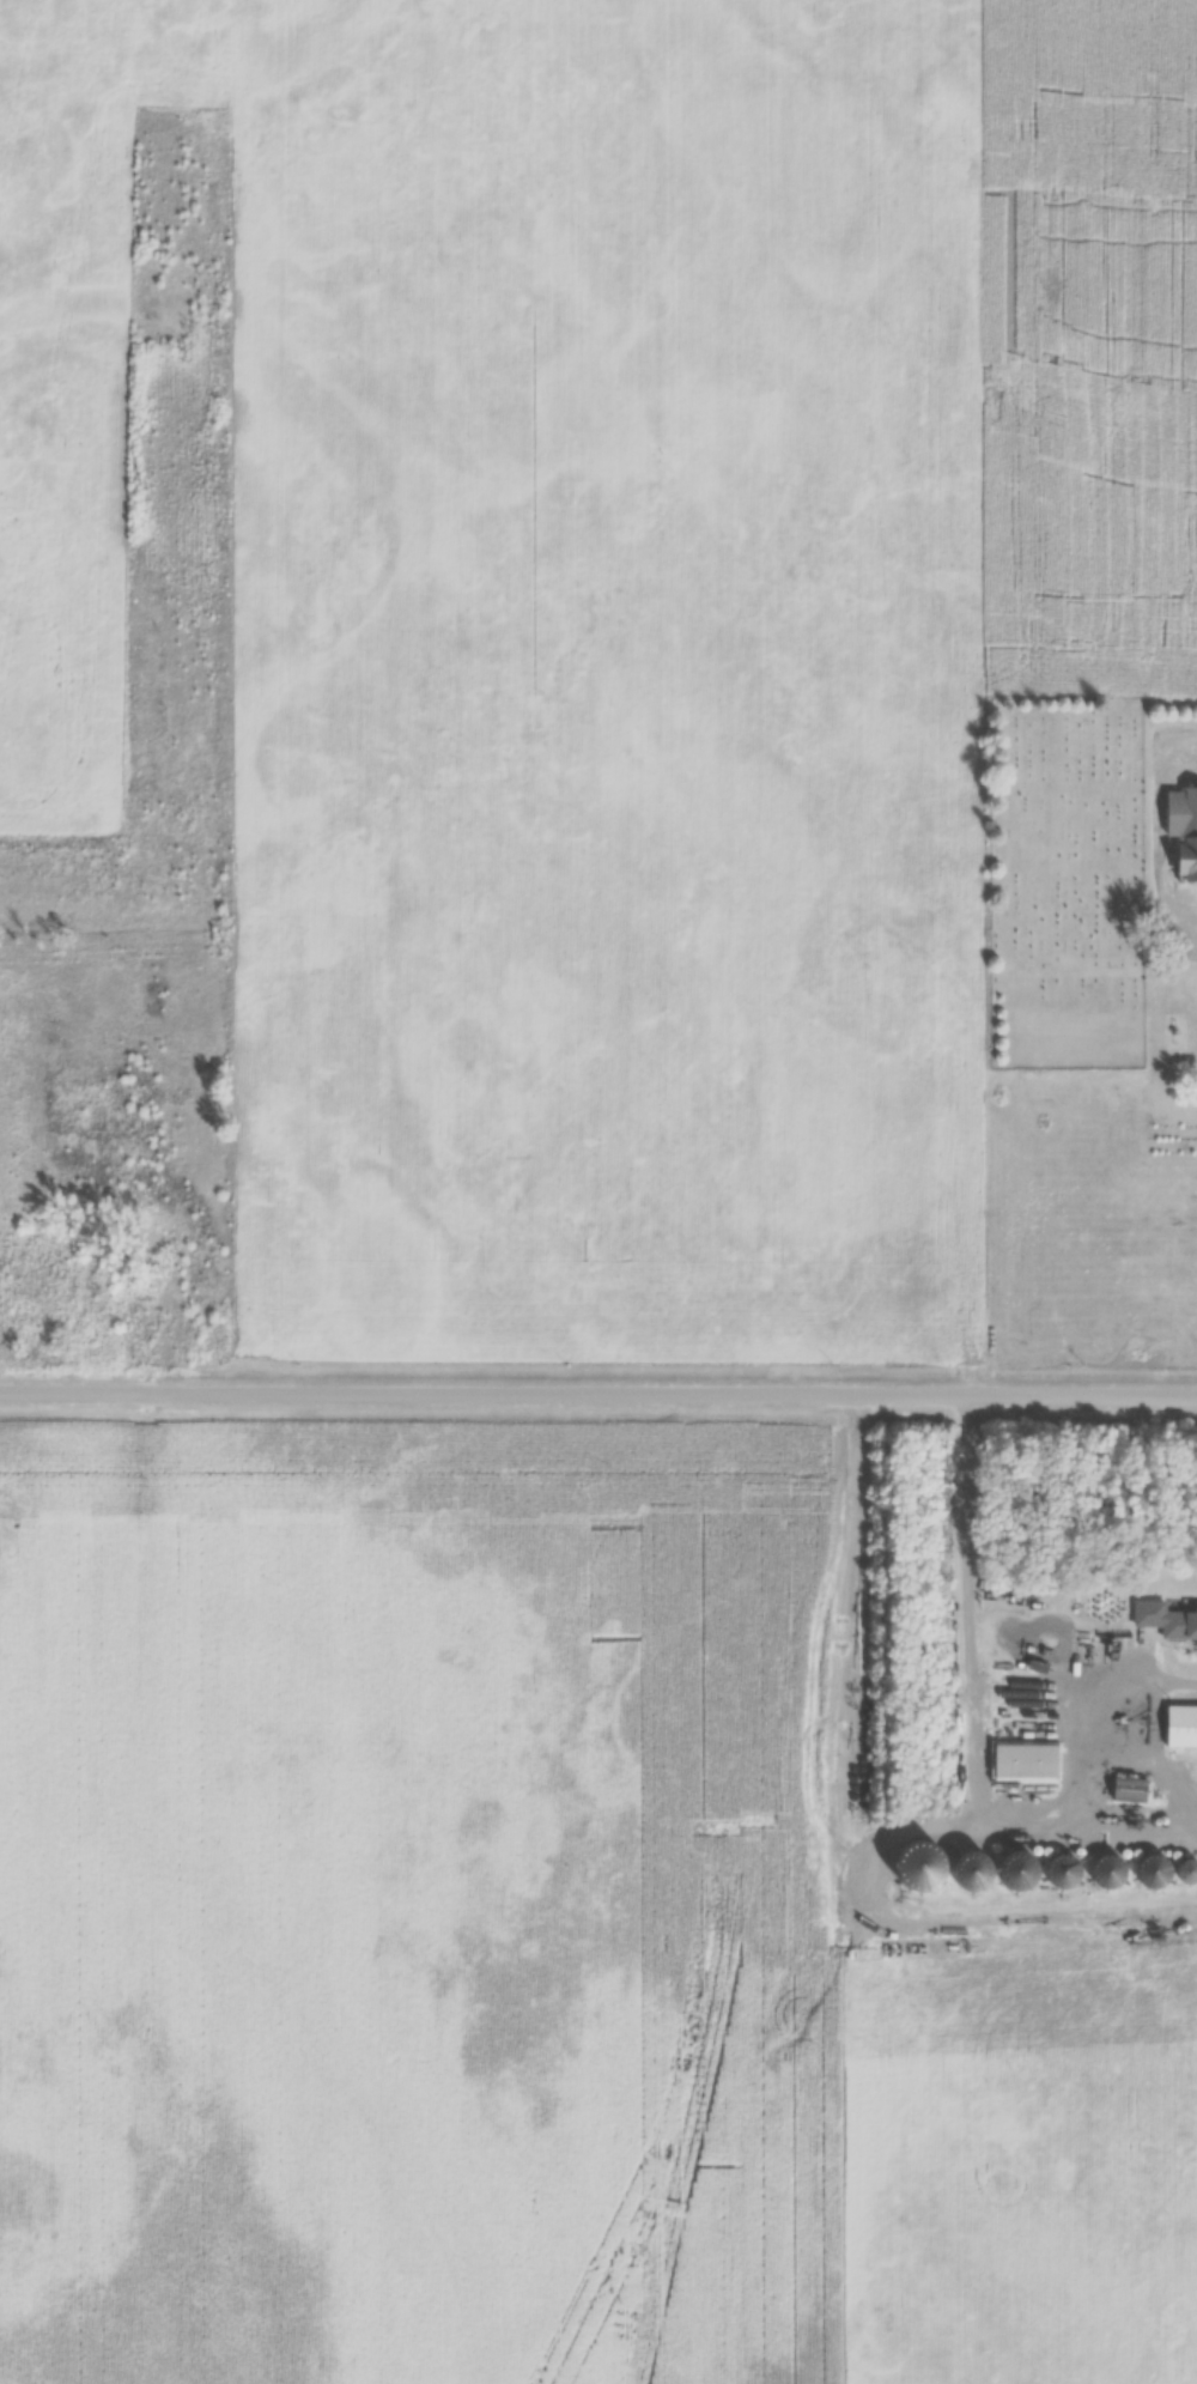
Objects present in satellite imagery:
building: (1185, 831)
road: (1155, 856)
road: (597, 1393)
building: (1167, 1619)
road: (1155, 1676)
road: (976, 1707)
building: (1181, 1727)
road: (1105, 1741)
building: (1028, 1761)
building: (1132, 1790)
road: (855, 1827)
building: (974, 1872)
building: (1111, 1872)
building: (1190, 1873)
building: (1019, 1874)
building: (1064, 1874)
building: (1153, 1874)

